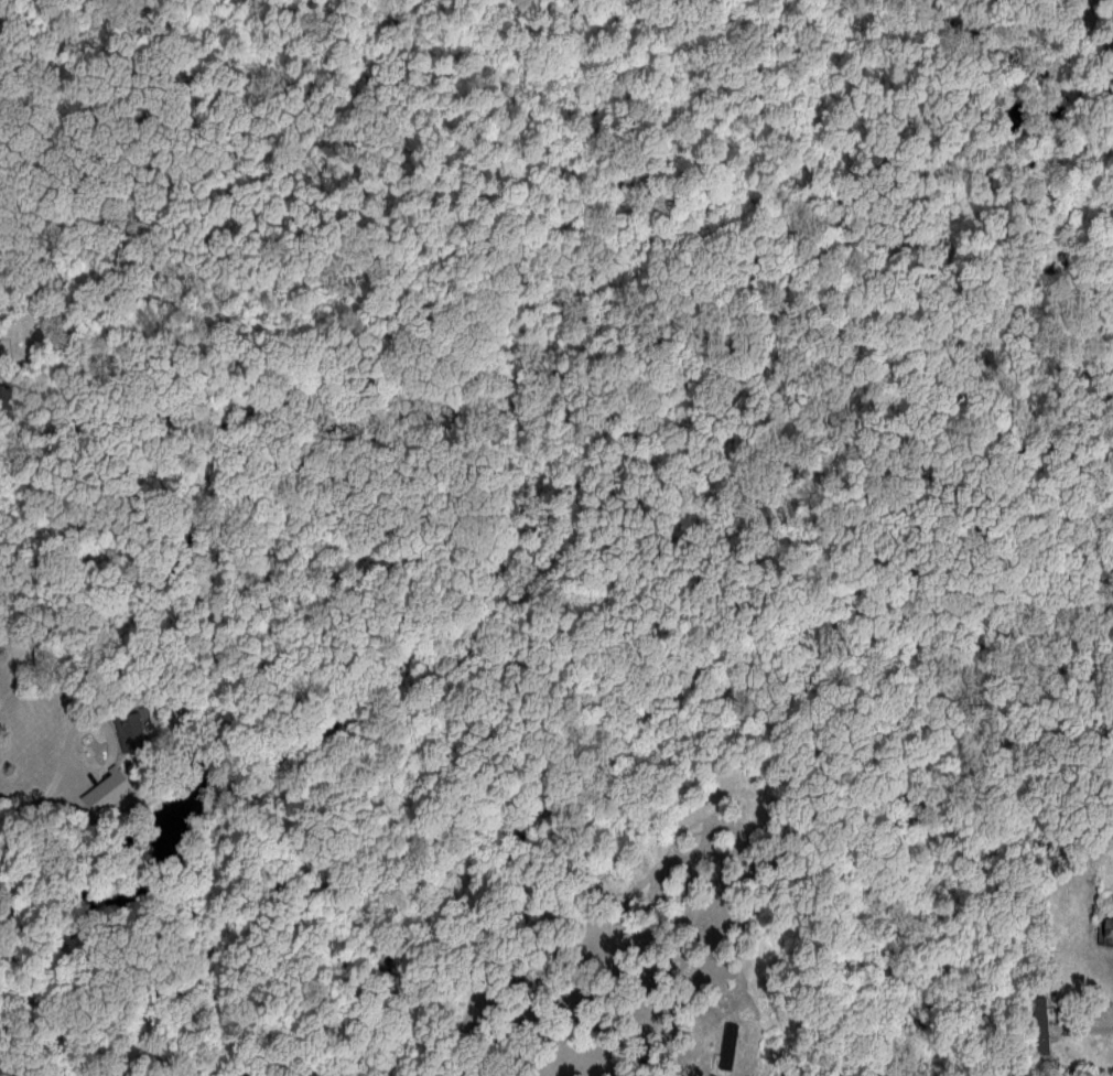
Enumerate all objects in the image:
building: (104, 790)
road: (58, 796)
building: (1042, 1021)

